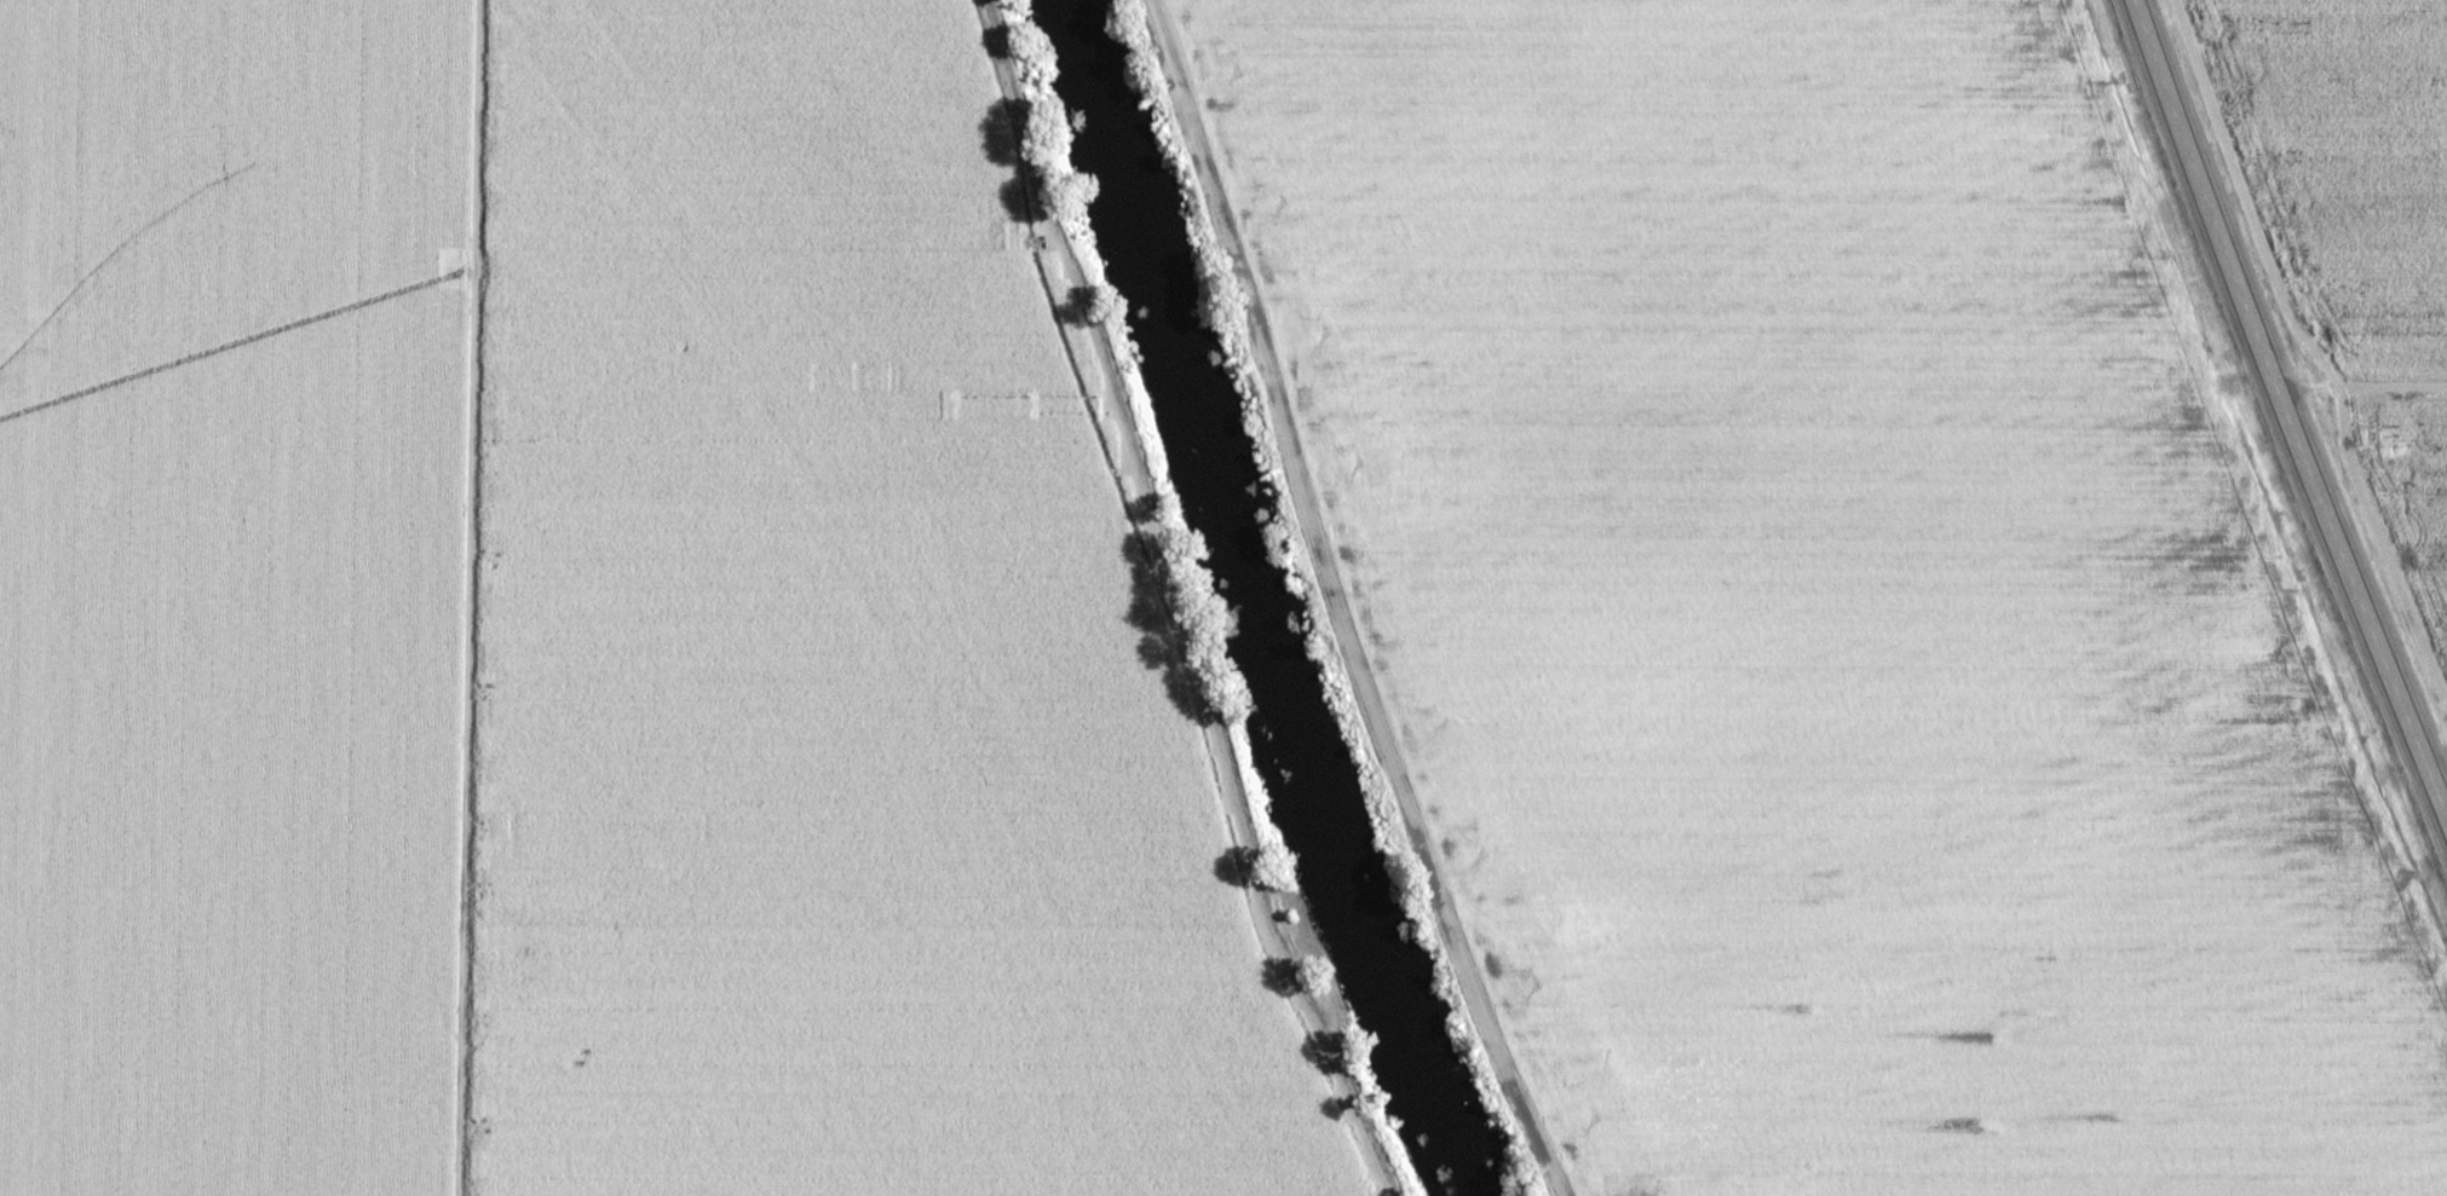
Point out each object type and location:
road: (1217, 187)
road: (1861, 381)
road: (2281, 414)
road: (467, 597)
river: (1276, 599)
road: (1406, 791)

